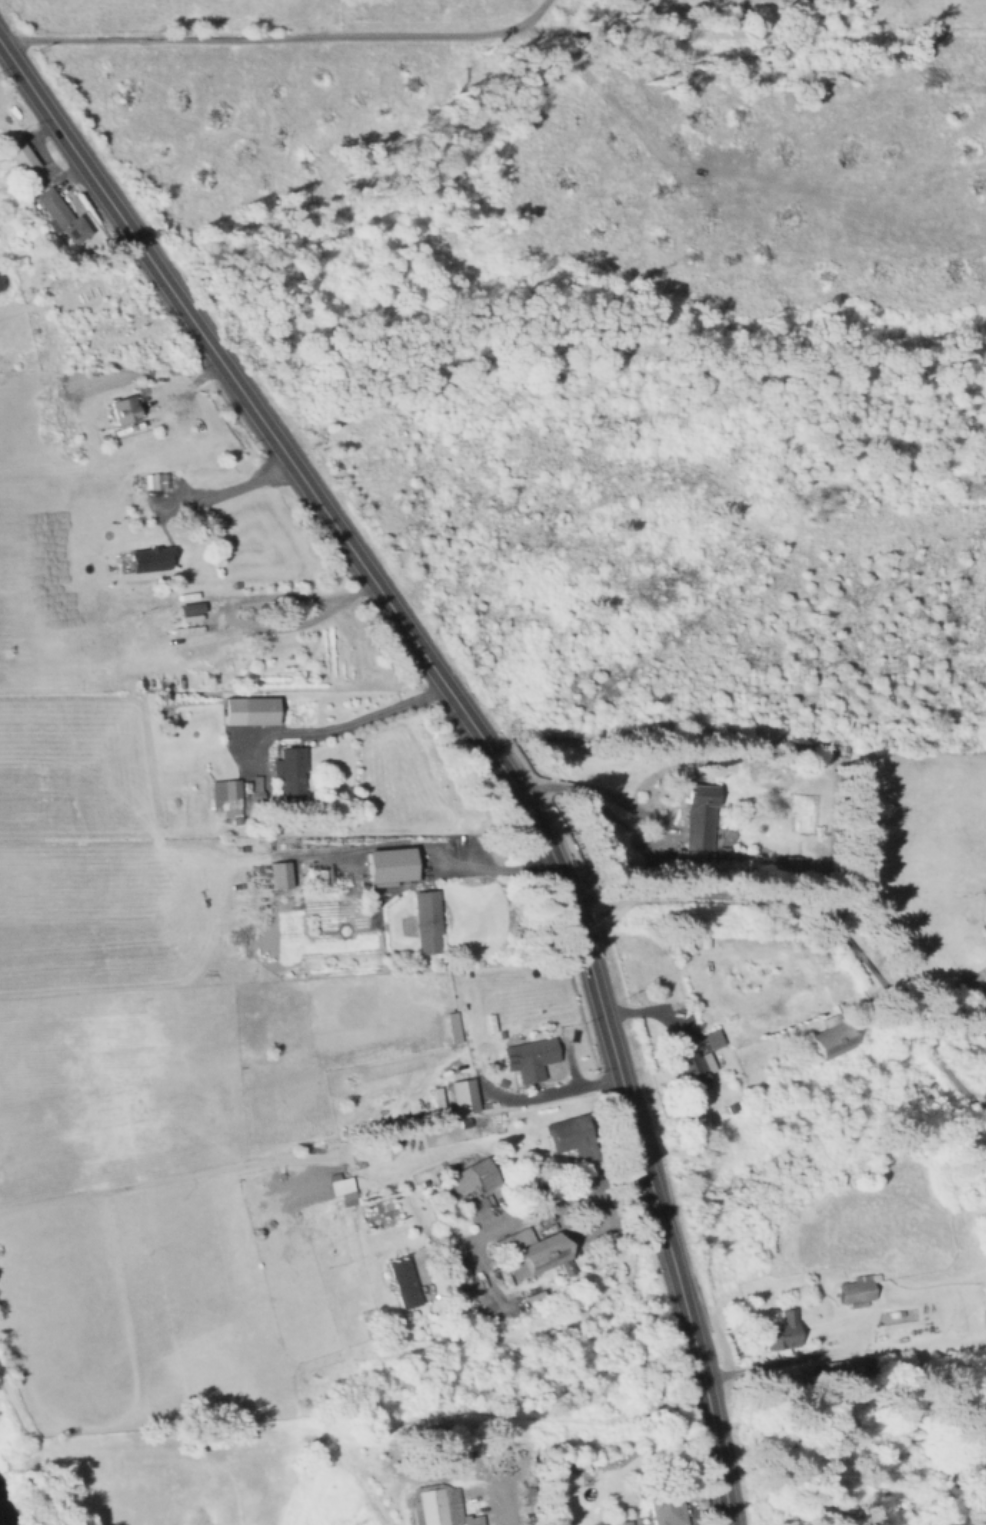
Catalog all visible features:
road: (274, 34)
building: (21, 157)
building: (61, 216)
building: (125, 409)
building: (150, 479)
road: (230, 490)
building: (154, 557)
road: (388, 599)
building: (192, 608)
building: (201, 651)
building: (250, 710)
road: (342, 723)
building: (214, 750)
building: (292, 770)
building: (258, 788)
building: (228, 795)
building: (700, 815)
building: (687, 855)
building: (791, 864)
building: (391, 865)
road: (488, 866)
building: (282, 874)
road: (821, 913)
building: (428, 920)
building: (972, 993)
road: (653, 1011)
building: (451, 1025)
building: (831, 1037)
building: (714, 1038)
building: (531, 1058)
building: (695, 1077)
road: (552, 1092)
building: (464, 1095)
building: (728, 1114)
building: (568, 1136)
road: (250, 1163)
building: (482, 1176)
building: (458, 1187)
building: (343, 1192)
road: (553, 1207)
building: (531, 1257)
road: (677, 1274)
building: (402, 1287)
building: (859, 1289)
building: (985, 1314)
building: (782, 1331)
road: (837, 1350)
building: (850, 1367)
road: (37, 1414)
road: (714, 1428)
road: (281, 1432)
building: (497, 1454)
building: (454, 1455)
road: (493, 1481)
building: (469, 1491)
building: (530, 1494)
building: (447, 1505)
building: (667, 1510)
river: (2, 1519)
building: (622, 1523)

